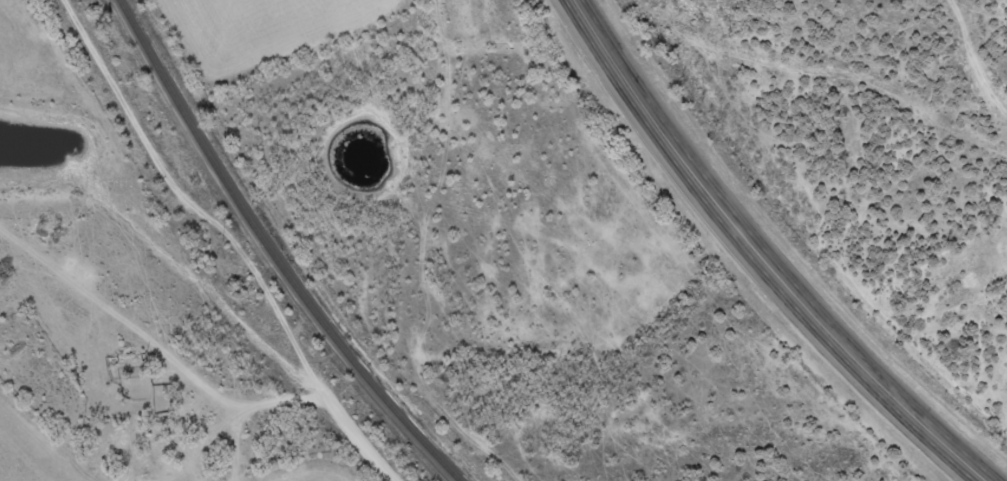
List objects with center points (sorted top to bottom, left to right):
railway: (269, 253)
road: (755, 254)
road: (136, 296)
building: (129, 365)

